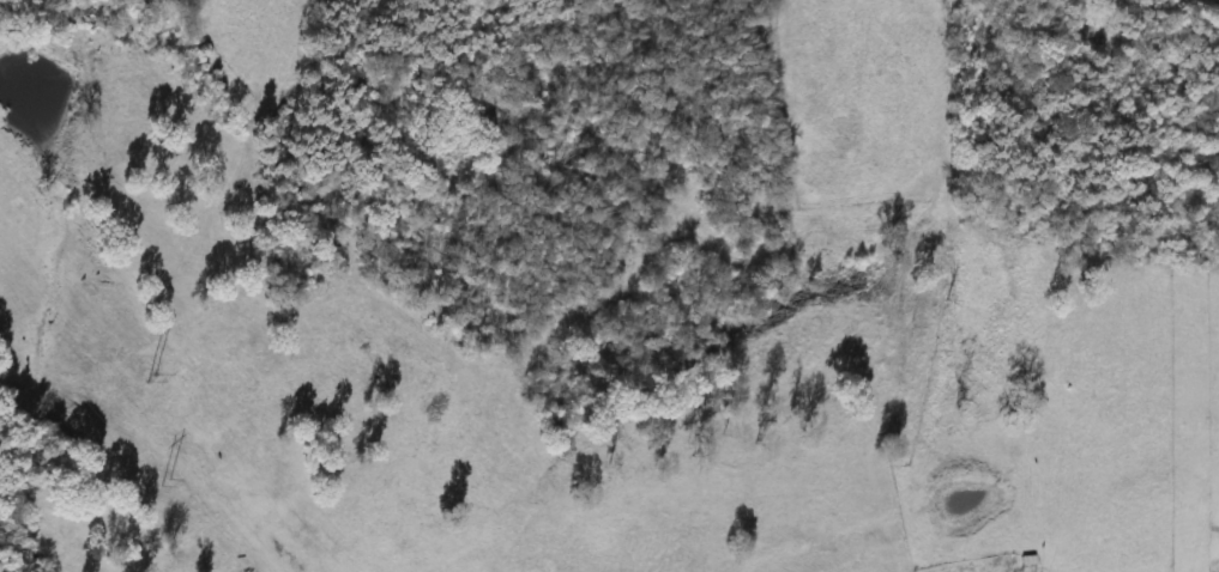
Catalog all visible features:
power tower: (125, 376)
power tower: (150, 481)

